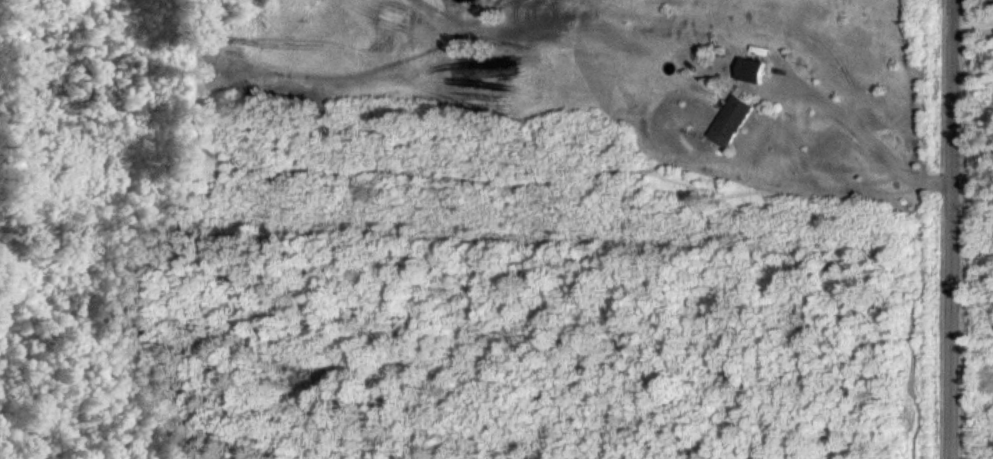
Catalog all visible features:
road: (973, 22)
building: (735, 120)
road: (849, 133)
road: (949, 229)

